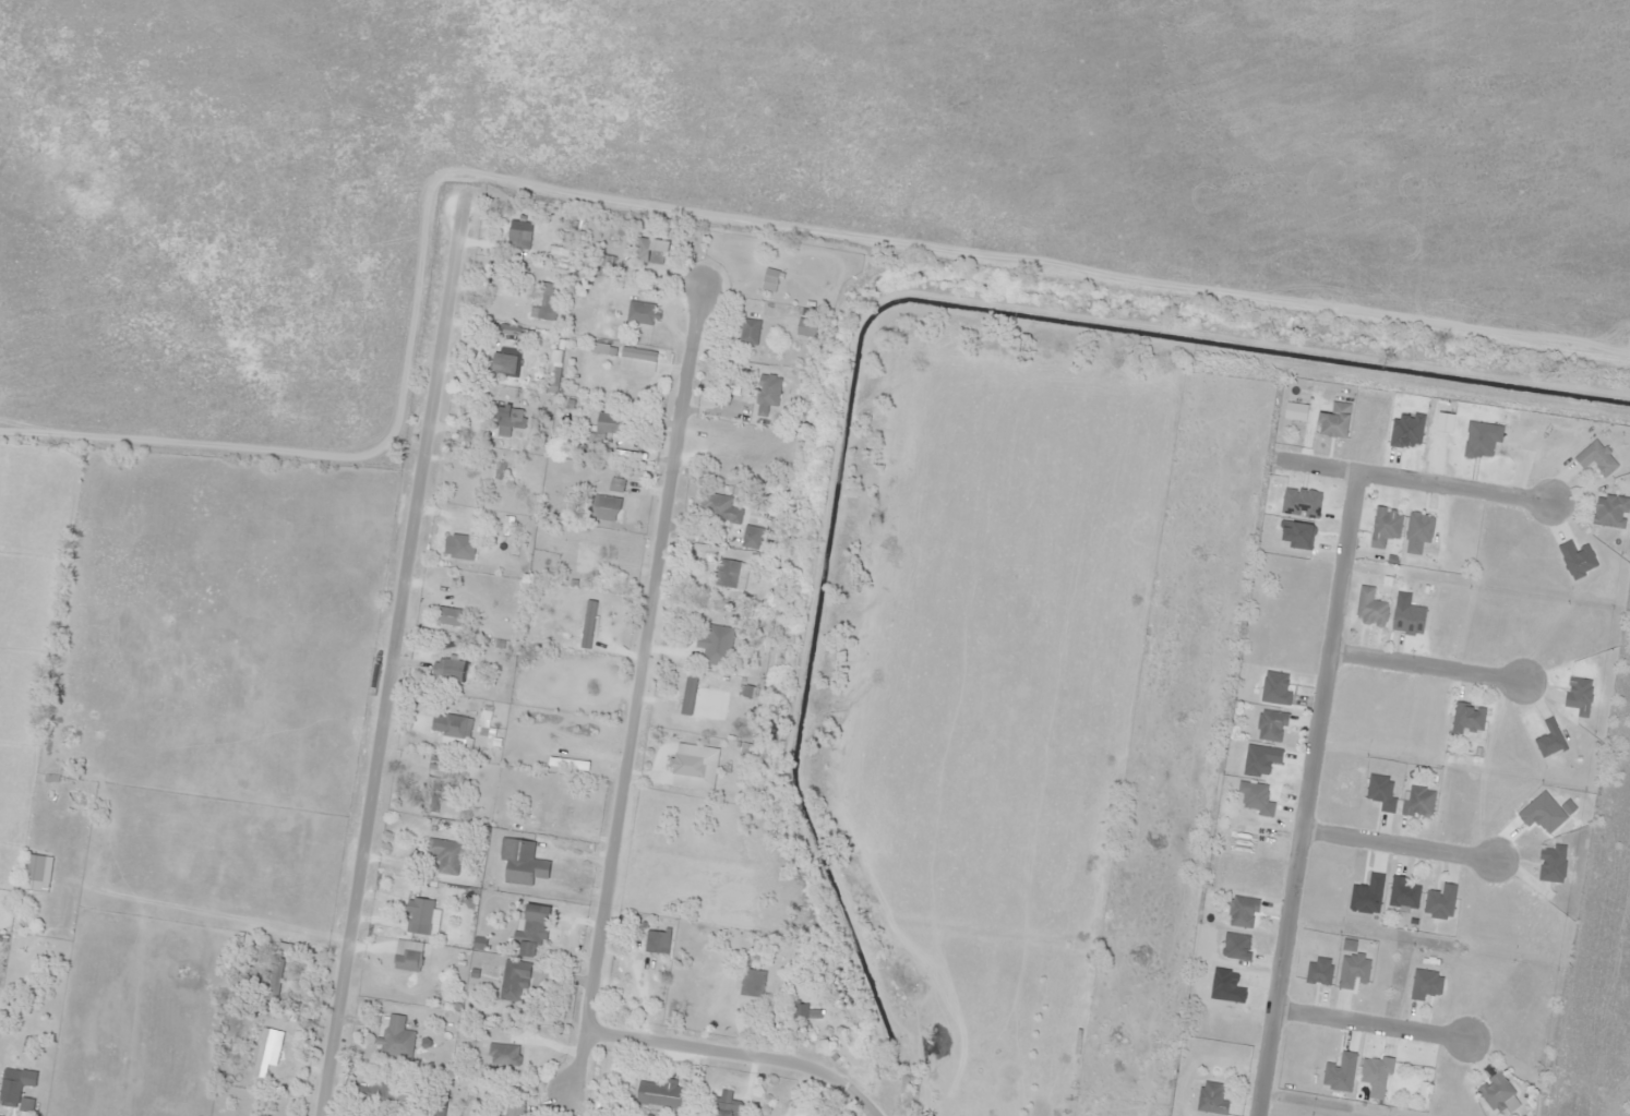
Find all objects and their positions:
building: (518, 233)
building: (652, 252)
building: (768, 279)
building: (547, 302)
road: (1333, 308)
building: (640, 313)
building: (805, 327)
building: (508, 329)
building: (746, 331)
building: (636, 360)
building: (503, 361)
building: (553, 367)
building: (766, 393)
building: (1333, 420)
building: (507, 421)
building: (608, 424)
building: (1594, 458)
building: (500, 470)
road: (1411, 479)
building: (615, 483)
building: (604, 507)
building: (717, 507)
building: (1609, 511)
building: (503, 525)
building: (1383, 525)
building: (751, 537)
building: (460, 547)
building: (726, 573)
building: (1369, 607)
building: (448, 615)
building: (717, 639)
road: (393, 651)
road: (1423, 665)
building: (446, 668)
building: (1578, 694)
building: (1466, 719)
building: (450, 724)
building: (1269, 725)
building: (685, 765)
building: (1379, 791)
building: (430, 793)
road: (1304, 793)
building: (1418, 801)
road: (618, 807)
road: (1395, 849)
building: (444, 855)
building: (520, 862)
building: (1550, 863)
building: (35, 872)
building: (1402, 893)
building: (1439, 901)
building: (420, 911)
building: (1241, 911)
building: (532, 931)
building: (655, 941)
building: (406, 955)
building: (512, 980)
building: (751, 982)
building: (1424, 984)
building: (799, 1011)
road: (1367, 1023)
building: (395, 1036)
building: (260, 1054)
building: (501, 1054)
road: (575, 1060)
building: (1374, 1070)
building: (14, 1090)
building: (379, 1091)
building: (1494, 1091)
building: (660, 1093)
building: (1211, 1097)
building: (723, 1105)
building: (506, 1115)
building: (828, 1115)

